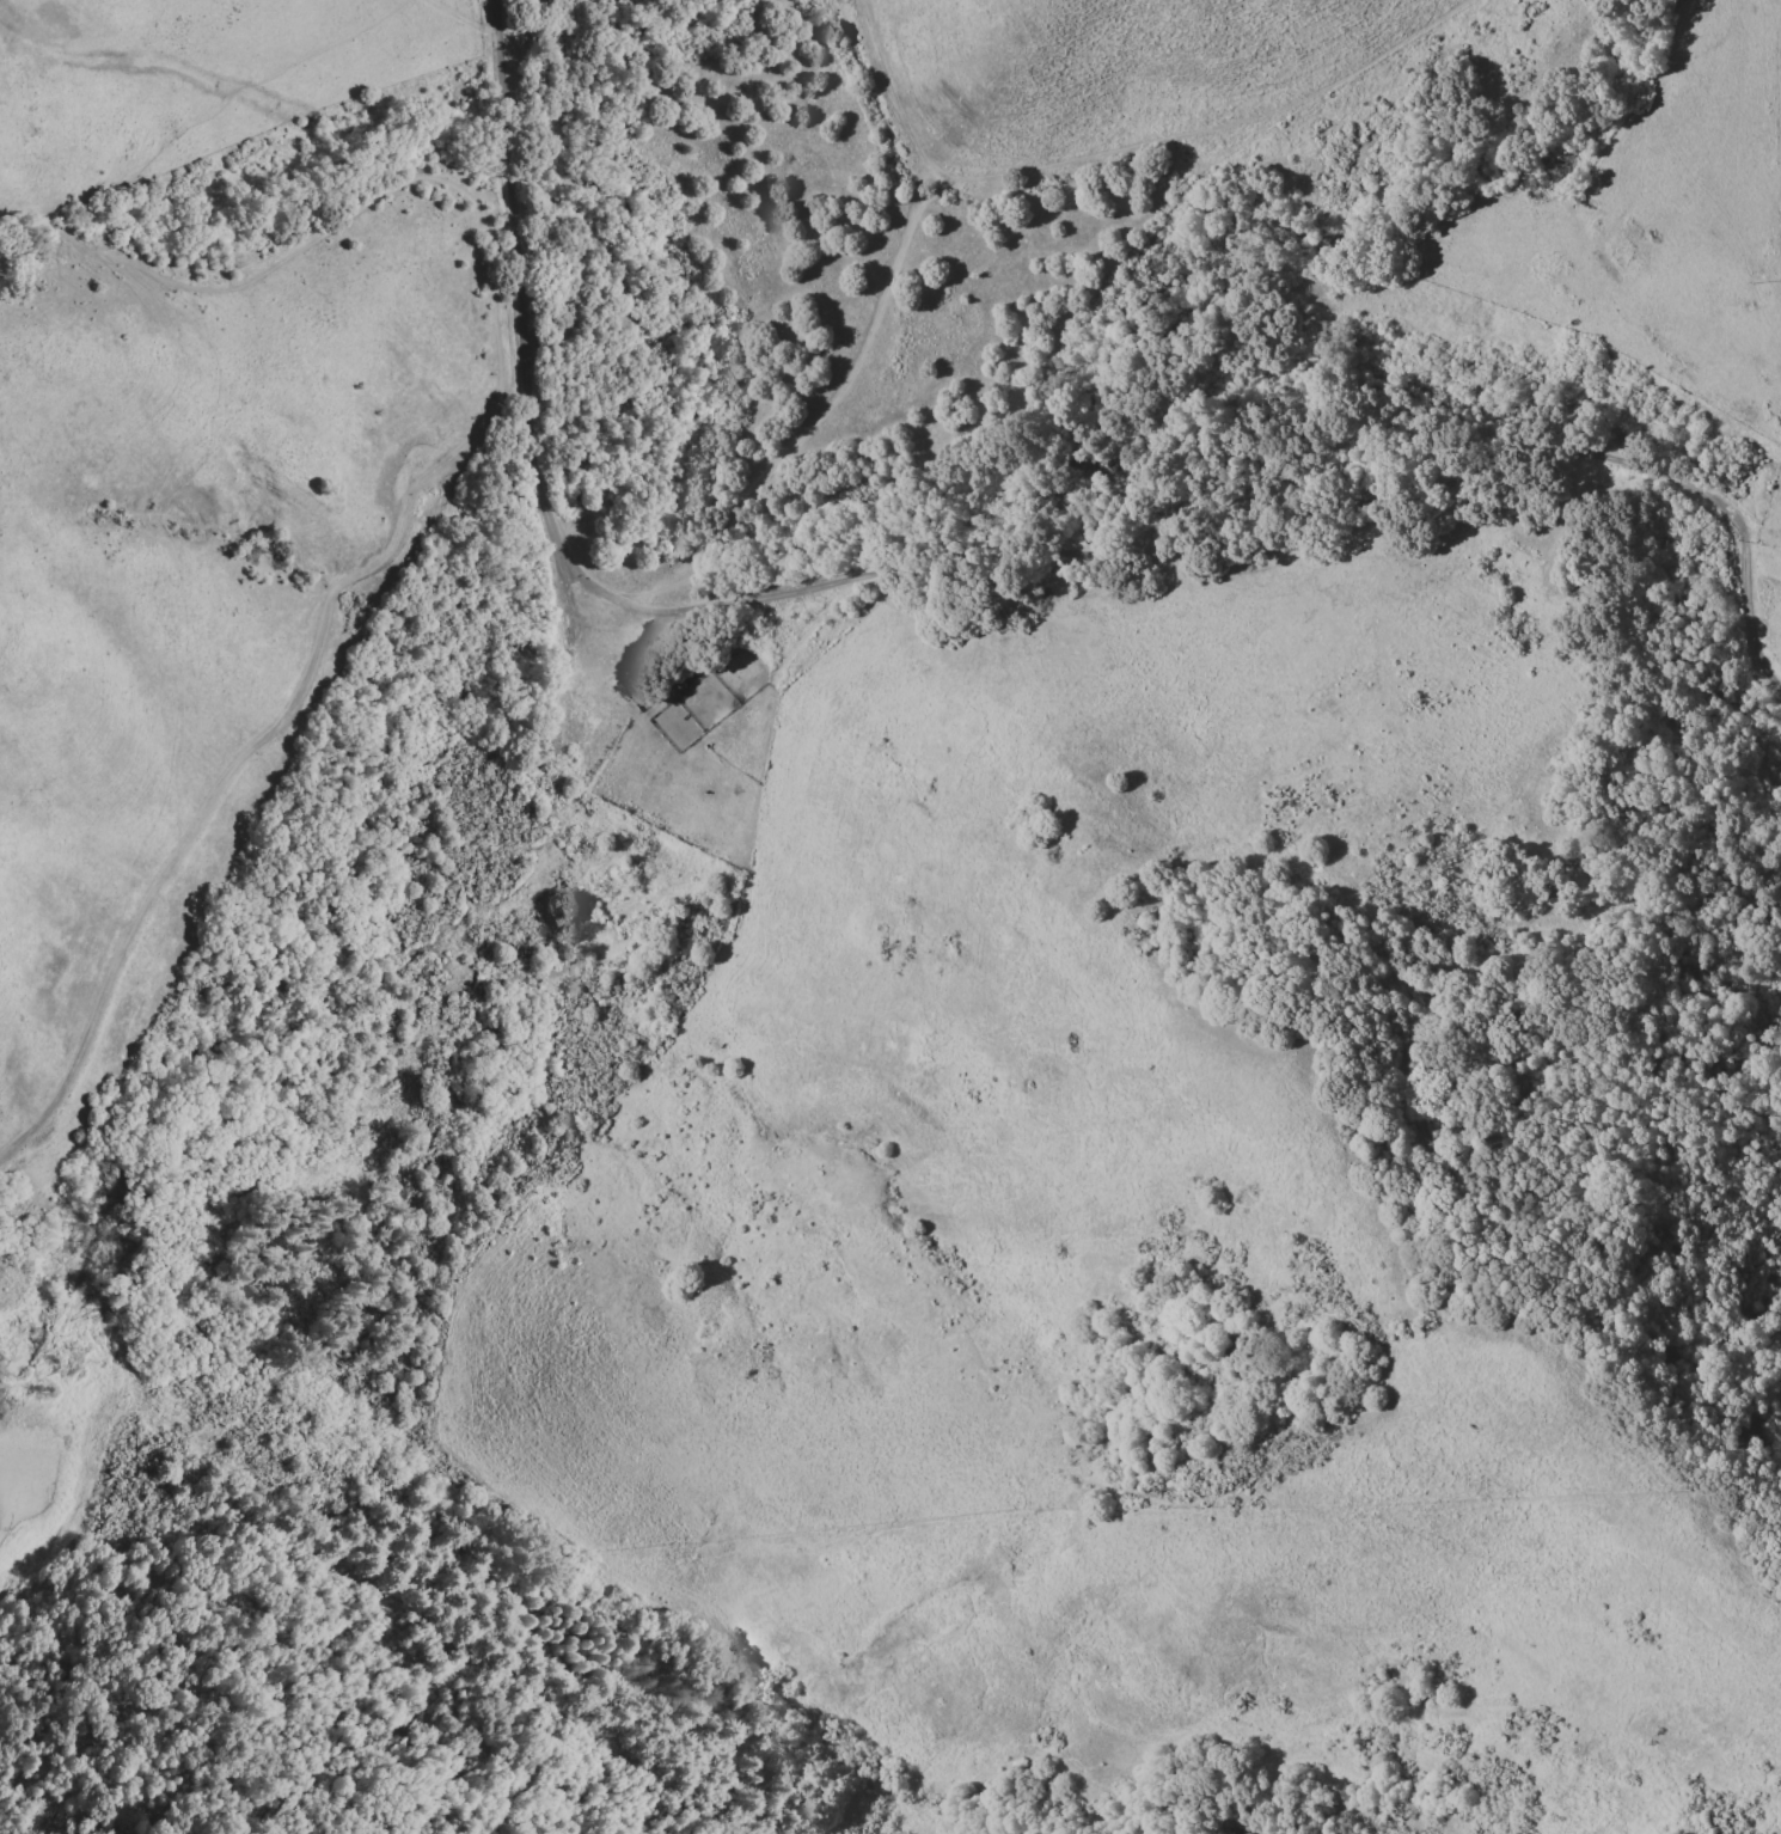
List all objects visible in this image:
road: (459, 18)
road: (890, 93)
road: (1208, 133)
road: (510, 190)
road: (335, 216)
road: (1274, 508)
road: (733, 513)
road: (247, 759)

